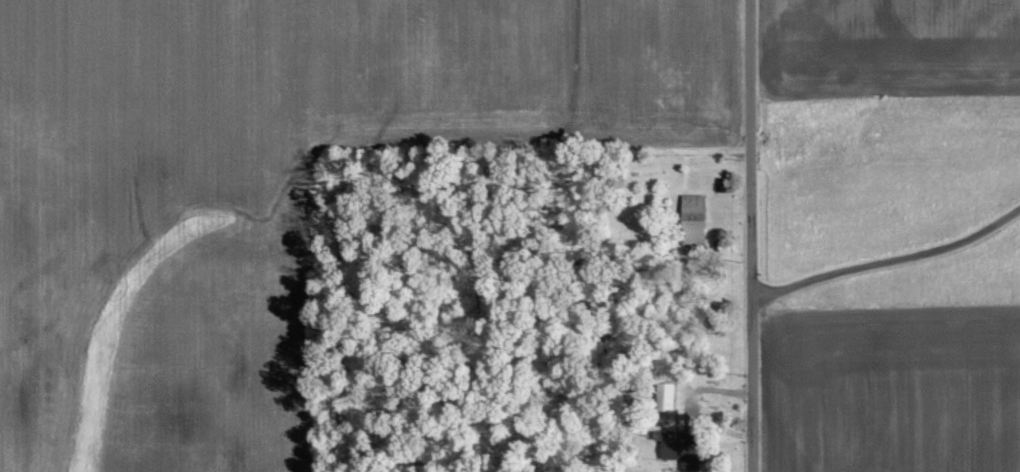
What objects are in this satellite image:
building: (695, 219)
road: (750, 236)
building: (666, 398)
building: (680, 453)

